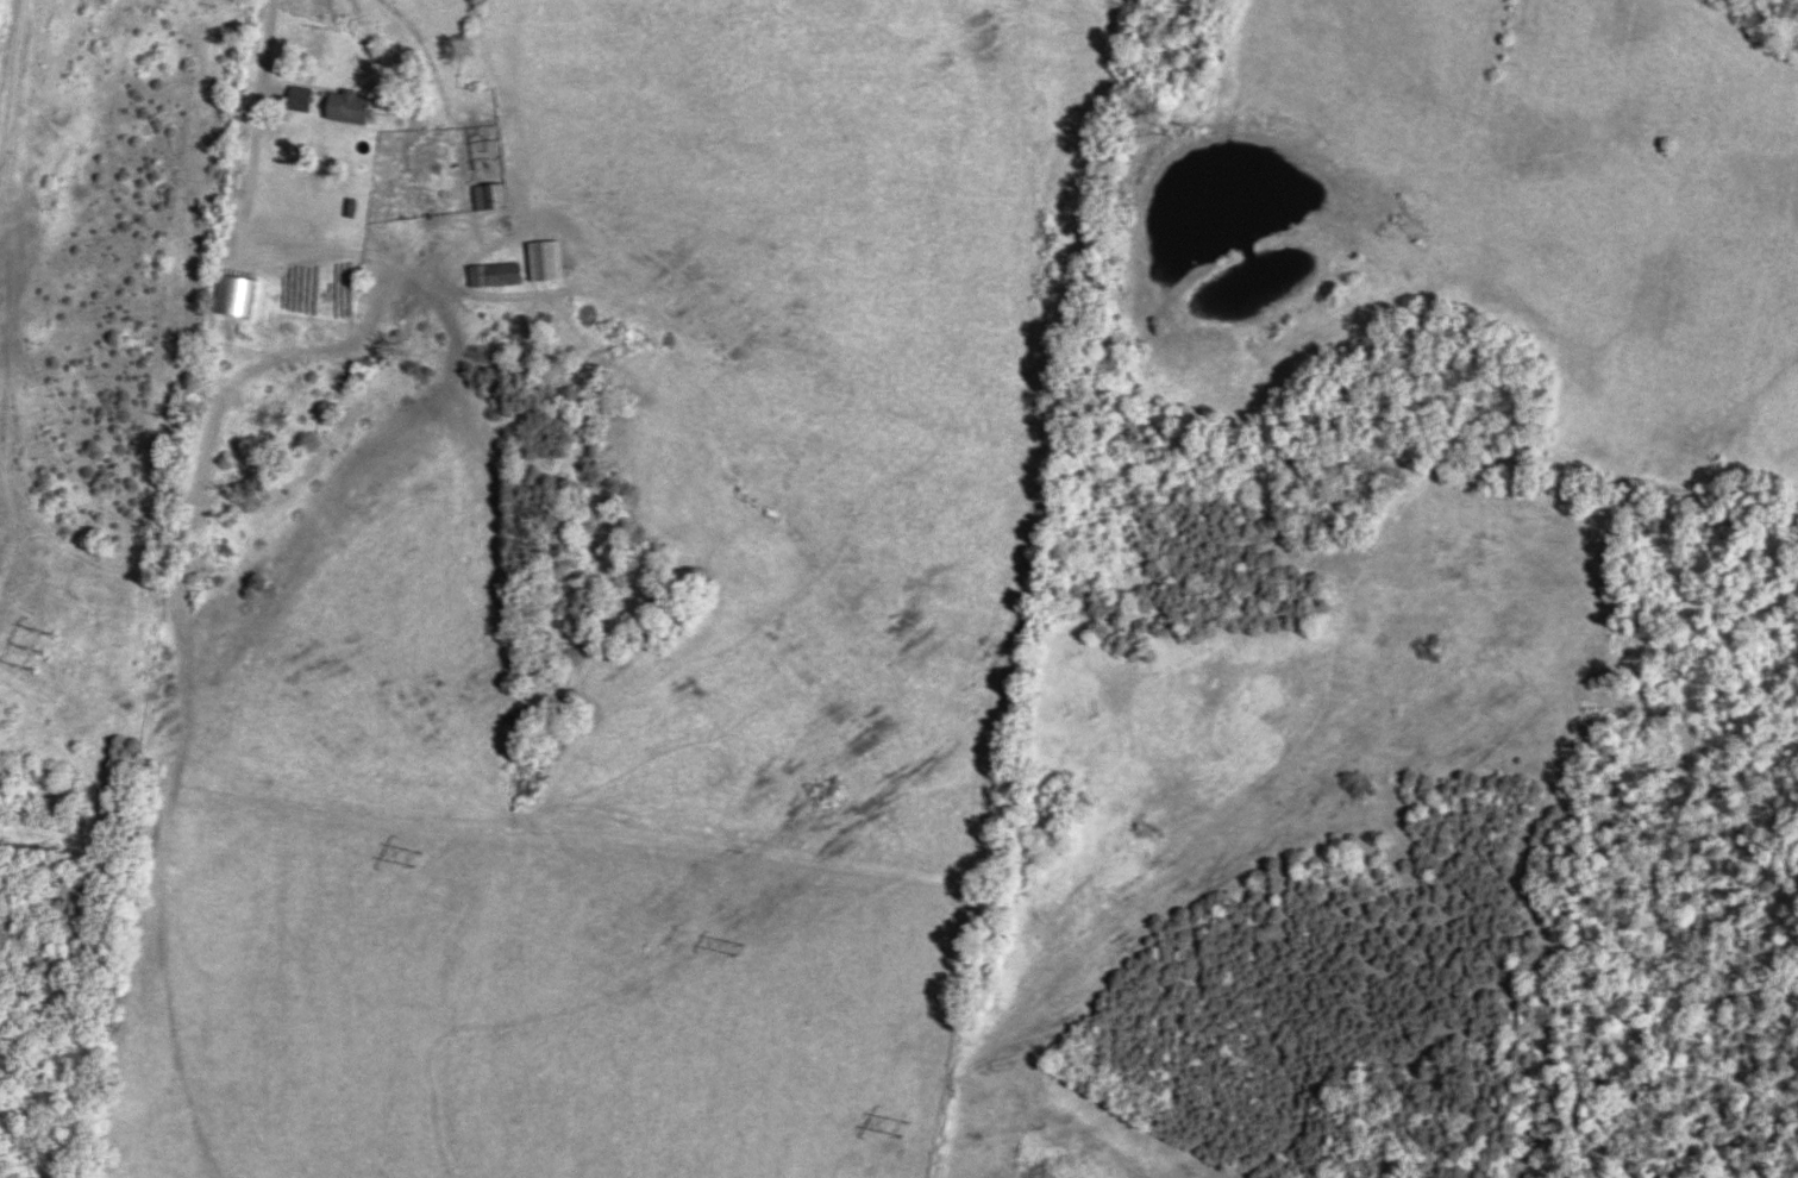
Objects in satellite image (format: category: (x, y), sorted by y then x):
building: (302, 96)
building: (352, 106)
building: (491, 195)
building: (547, 258)
building: (497, 271)
building: (339, 327)
power tower: (45, 650)
power tower: (416, 856)
power tower: (903, 1126)

